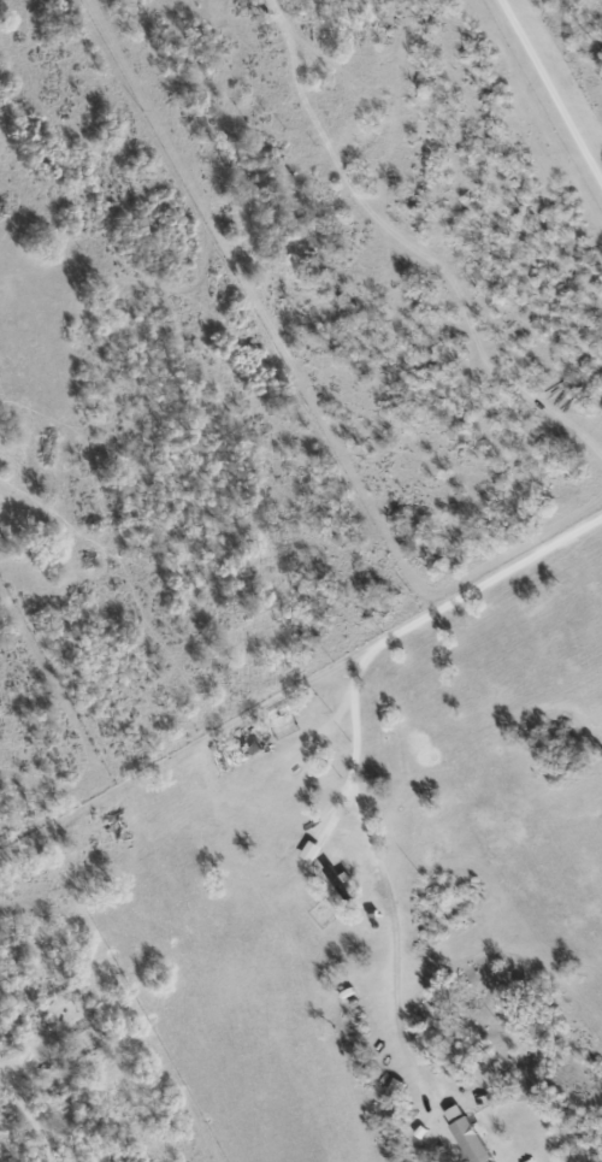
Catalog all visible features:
road: (550, 88)
road: (354, 743)
building: (455, 1113)
building: (473, 1140)

